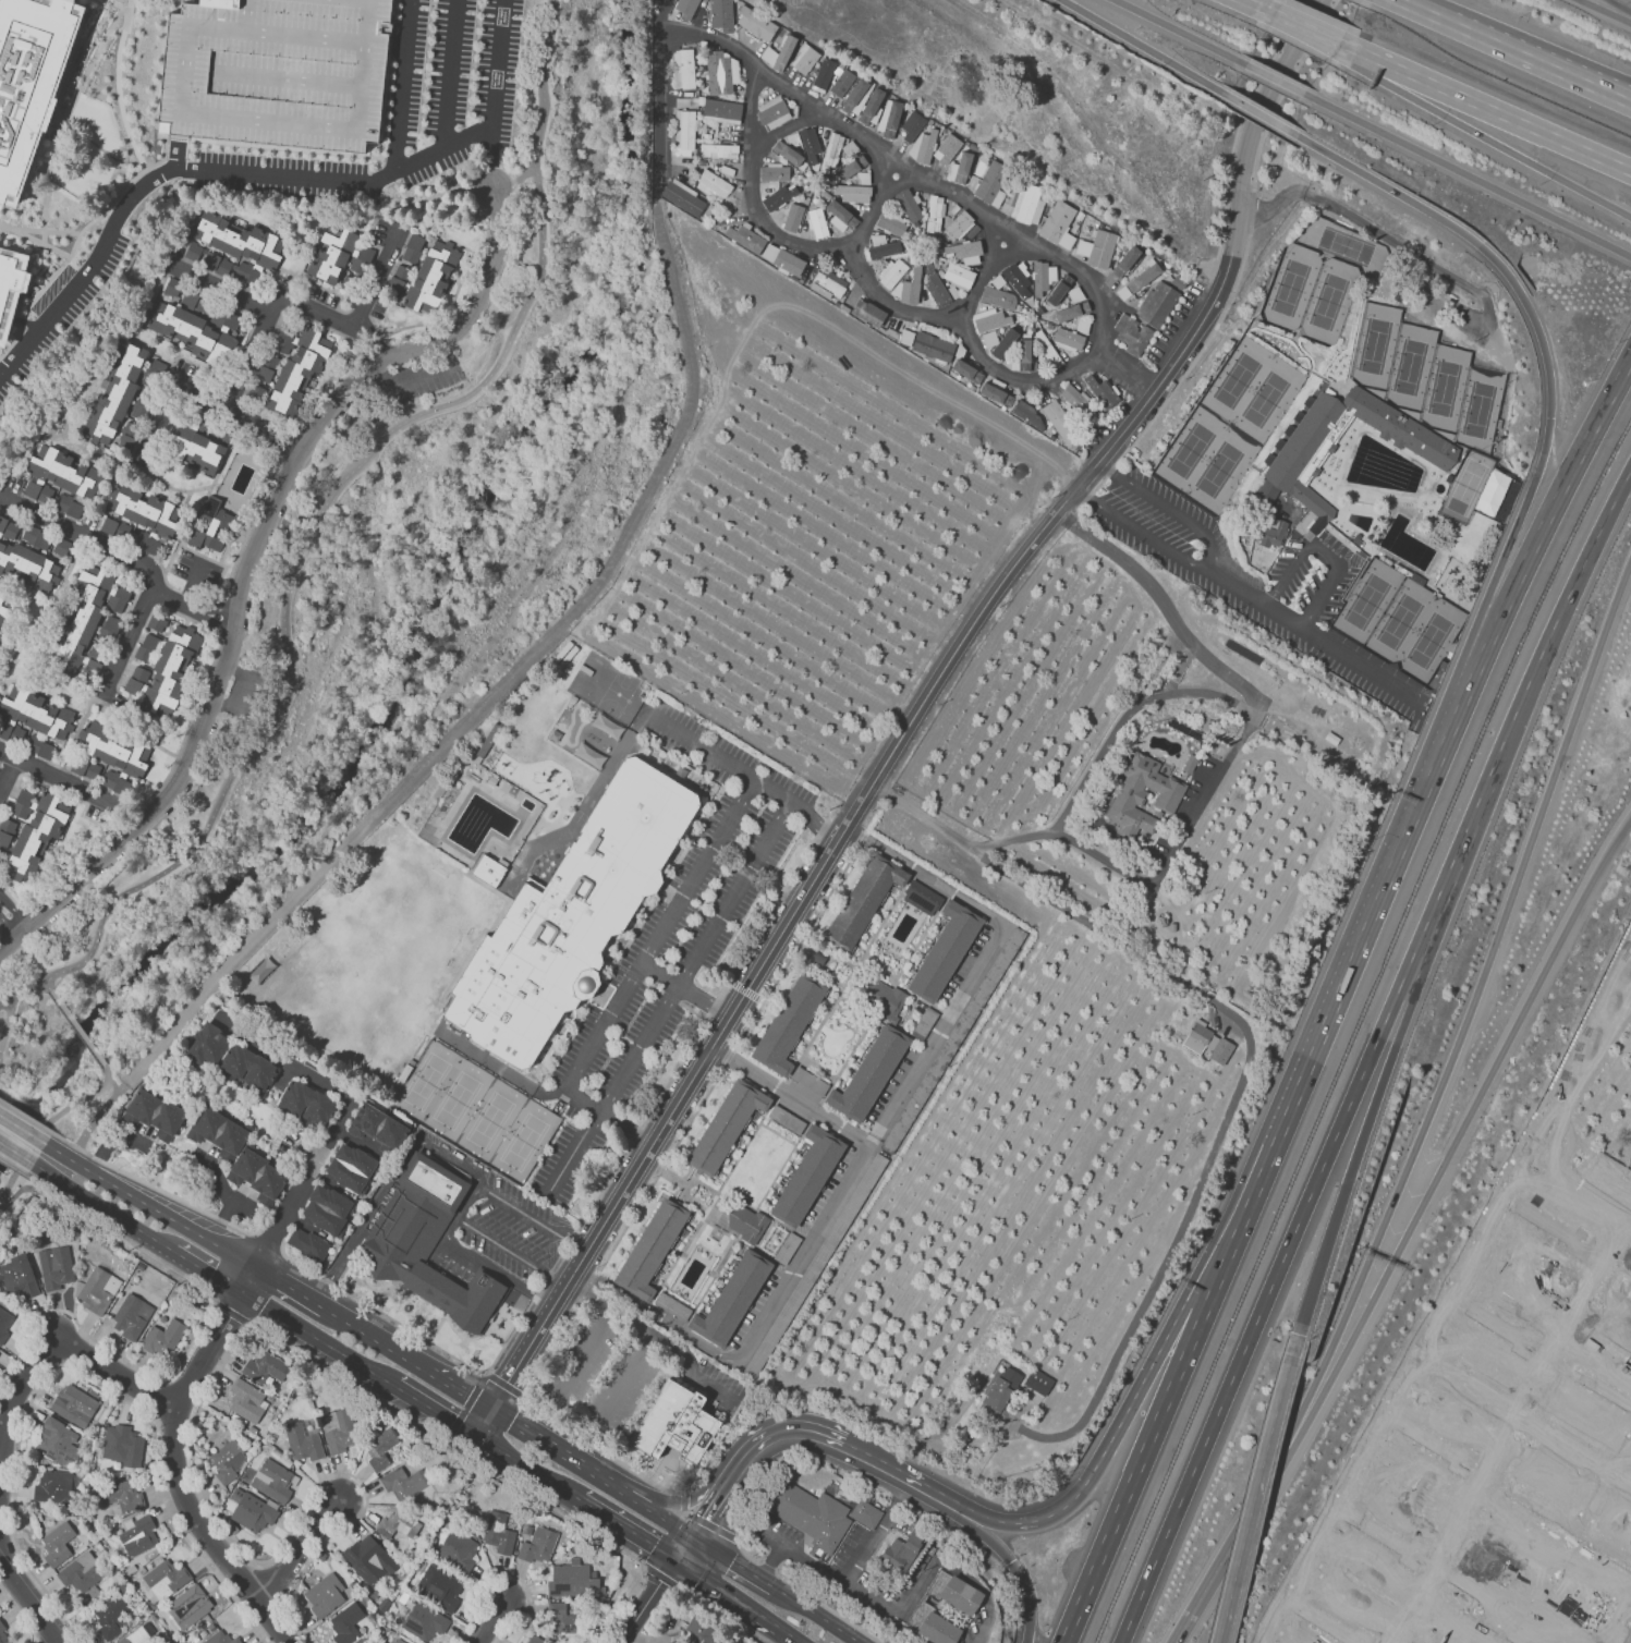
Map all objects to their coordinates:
road: (118, 5)
road: (1258, 7)
road: (1618, 8)
road: (661, 10)
road: (1605, 11)
building: (721, 14)
building: (755, 23)
road: (1306, 27)
road: (1179, 32)
road: (393, 47)
road: (1145, 47)
road: (1353, 48)
road: (88, 50)
road: (1513, 51)
building: (778, 53)
road: (95, 56)
building: (805, 59)
building: (683, 69)
building: (276, 71)
parking lot: (275, 72)
road: (452, 72)
building: (721, 72)
building: (823, 74)
building: (27, 77)
road: (1274, 78)
building: (840, 81)
road: (388, 85)
road: (401, 85)
road: (1283, 92)
road: (120, 94)
building: (855, 97)
road: (1627, 98)
building: (872, 107)
building: (721, 110)
building: (772, 112)
road: (1258, 112)
park: (569, 114)
road: (1498, 115)
building: (889, 118)
building: (912, 127)
road: (783, 131)
building: (683, 133)
road: (1236, 136)
road: (178, 137)
road: (859, 137)
road: (1494, 142)
building: (810, 144)
building: (923, 146)
road: (283, 148)
building: (849, 148)
building: (946, 148)
road: (102, 149)
building: (718, 150)
road: (495, 153)
building: (787, 153)
building: (830, 153)
road: (178, 154)
road: (162, 155)
building: (959, 168)
road: (264, 169)
building: (852, 169)
building: (774, 172)
road: (1466, 173)
road: (516, 180)
building: (991, 183)
building: (713, 185)
building: (852, 193)
road: (434, 195)
building: (779, 196)
building: (684, 198)
building: (1022, 204)
building: (909, 205)
road: (1273, 206)
road: (45, 208)
road: (1252, 208)
road: (876, 210)
building: (934, 212)
road: (101, 214)
building: (840, 216)
building: (792, 217)
building: (816, 222)
building: (1061, 223)
building: (890, 224)
building: (958, 226)
road: (5, 227)
building: (745, 238)
park: (1341, 242)
road: (44, 243)
building: (231, 245)
building: (881, 246)
building: (412, 247)
building: (1096, 248)
road: (1412, 251)
building: (339, 258)
building: (782, 258)
building: (1124, 260)
road: (476, 267)
building: (891, 271)
road: (377, 273)
building: (958, 276)
building: (1043, 277)
building: (1142, 277)
building: (425, 278)
road: (868, 278)
road: (987, 280)
building: (823, 281)
road: (514, 283)
park: (1291, 283)
building: (8, 287)
building: (908, 287)
building: (936, 289)
building: (1058, 289)
building: (1122, 292)
building: (186, 296)
park: (1329, 296)
building: (998, 297)
road: (280, 300)
building: (1156, 304)
road: (28, 305)
building: (867, 313)
building: (1067, 313)
building: (160, 316)
building: (990, 318)
building: (1082, 326)
road: (503, 332)
building: (202, 333)
building: (1131, 333)
building: (905, 337)
building: (1068, 338)
building: (988, 339)
building: (1003, 342)
park: (1373, 342)
road: (353, 344)
road: (369, 344)
building: (932, 345)
building: (1023, 353)
road: (252, 358)
park: (1410, 364)
road: (1546, 367)
building: (297, 368)
building: (966, 370)
building: (153, 373)
road: (1178, 381)
park: (1445, 384)
road: (475, 385)
road: (422, 387)
park: (1252, 387)
road: (200, 390)
building: (256, 392)
building: (991, 392)
building: (1101, 392)
road: (453, 393)
building: (112, 398)
building: (1076, 401)
road: (439, 403)
park: (1478, 405)
building: (141, 407)
road: (386, 411)
building: (1028, 415)
traffic signals: (1550, 416)
building: (1060, 422)
building: (1402, 428)
building: (182, 430)
building: (129, 436)
road: (285, 441)
building: (195, 452)
park: (1205, 457)
building: (1301, 458)
building: (57, 475)
park: (1465, 486)
building: (1494, 492)
road: (339, 501)
building: (68, 506)
building: (135, 512)
building: (209, 525)
building: (1268, 528)
road: (1538, 532)
road: (245, 534)
building: (36, 537)
road: (1014, 540)
road: (88, 541)
building: (1408, 544)
building: (61, 547)
road: (1324, 550)
building: (24, 560)
road: (249, 560)
road: (1215, 569)
parking lot: (1313, 575)
parking lot: (1237, 583)
park: (1367, 597)
building: (117, 598)
road: (1164, 607)
road: (191, 613)
road: (221, 613)
building: (2, 614)
building: (157, 622)
building: (83, 623)
park: (1413, 626)
building: (109, 629)
road: (1315, 634)
building: (146, 647)
road: (126, 648)
road: (1536, 661)
building: (166, 671)
road: (954, 671)
road: (499, 689)
road: (246, 692)
road: (1227, 699)
road: (918, 706)
building: (31, 716)
road: (1287, 733)
road: (701, 746)
building: (45, 751)
building: (113, 755)
building: (1191, 764)
building: (84, 768)
road: (169, 770)
road: (7, 779)
road: (70, 786)
building: (1145, 799)
building: (5, 831)
building: (34, 831)
building: (612, 849)
building: (489, 871)
building: (921, 898)
building: (863, 902)
road: (1054, 904)
road: (11, 917)
road: (1428, 917)
road: (1365, 929)
road: (660, 930)
building: (946, 950)
road: (693, 956)
road: (48, 984)
road: (685, 989)
road: (745, 990)
road: (22, 993)
building: (884, 998)
road: (1469, 1011)
road: (5, 1024)
building: (787, 1025)
road: (76, 1026)
building: (1207, 1043)
building: (206, 1044)
building: (247, 1068)
road: (500, 1071)
road: (107, 1072)
road: (670, 1072)
building: (871, 1074)
building: (810, 1081)
road: (791, 1093)
building: (306, 1103)
building: (155, 1113)
road: (694, 1115)
road: (27, 1116)
road: (342, 1118)
road: (97, 1120)
building: (787, 1120)
building: (727, 1123)
building: (377, 1128)
road: (44, 1131)
building: (218, 1132)
road: (1457, 1135)
road: (19, 1142)
road: (868, 1144)
road: (574, 1149)
road: (1358, 1154)
road: (45, 1157)
building: (350, 1167)
road: (12, 1169)
building: (808, 1175)
building: (257, 1176)
building: (868, 1176)
road: (104, 1179)
road: (159, 1186)
road: (28, 1189)
road: (239, 1189)
road: (502, 1195)
road: (108, 1208)
building: (326, 1208)
road: (463, 1209)
road: (367, 1219)
road: (1243, 1219)
road: (1546, 1220)
building: (745, 1222)
road: (181, 1224)
road: (271, 1238)
road: (124, 1239)
building: (307, 1243)
building: (428, 1245)
building: (787, 1248)
building: (652, 1249)
road: (232, 1251)
road: (511, 1251)
road: (1165, 1261)
building: (54, 1267)
road: (210, 1270)
road: (499, 1271)
building: (17, 1277)
road: (290, 1287)
building: (97, 1290)
building: (733, 1299)
road: (1197, 1299)
building: (671, 1306)
fountain: (409, 1307)
road: (1262, 1307)
road: (232, 1314)
building: (131, 1316)
road: (393, 1319)
road: (1494, 1322)
building: (4, 1324)
traffic signals: (1298, 1334)
road: (655, 1336)
building: (162, 1338)
road: (321, 1339)
road: (375, 1341)
road: (61, 1342)
road: (1294, 1344)
road: (1429, 1352)
building: (265, 1367)
building: (1037, 1382)
road: (478, 1387)
road: (1605, 1391)
road: (458, 1392)
building: (997, 1393)
building: (246, 1400)
building: (74, 1404)
road: (436, 1411)
road: (574, 1411)
traffic signals: (489, 1413)
road: (1529, 1422)
building: (675, 1424)
road: (483, 1425)
building: (339, 1435)
traffic signals: (477, 1437)
building: (303, 1440)
road: (1432, 1440)
building: (58, 1441)
road: (447, 1441)
road: (767, 1443)
building: (122, 1445)
building: (379, 1447)
road: (603, 1449)
road: (1101, 1453)
road: (558, 1455)
building: (227, 1460)
road: (171, 1462)
road: (1136, 1466)
building: (272, 1480)
building: (404, 1482)
road: (902, 1483)
building: (56, 1485)
road: (1605, 1489)
road: (1255, 1490)
building: (122, 1495)
road: (576, 1498)
road: (685, 1499)
road: (673, 1501)
building: (253, 1512)
road: (687, 1512)
building: (866, 1514)
road: (662, 1517)
building: (812, 1517)
road: (708, 1518)
road: (1570, 1523)
building: (387, 1524)
road: (715, 1528)
building: (498, 1533)
road: (1383, 1534)
building: (138, 1535)
road: (876, 1535)
traffic signals: (697, 1537)
road: (776, 1539)
building: (57, 1543)
road: (300, 1545)
building: (538, 1545)
road: (686, 1548)
road: (1229, 1548)
building: (458, 1549)
building: (899, 1555)
road: (746, 1556)
road: (729, 1558)
building: (369, 1560)
traffic signals: (675, 1560)
road: (771, 1561)
traffic signals: (1011, 1562)
road: (769, 1565)
building: (81, 1571)
road: (1015, 1571)
road: (661, 1575)
building: (165, 1578)
building: (572, 1580)
road: (767, 1583)
building: (438, 1587)
road: (25, 1591)
road: (913, 1592)
building: (325, 1595)
road: (727, 1595)
building: (960, 1595)
road: (647, 1601)
building: (186, 1607)
road: (828, 1607)
road: (718, 1612)
road: (817, 1615)
building: (109, 1617)
road: (490, 1620)
building: (563, 1620)
building: (424, 1621)
road: (1327, 1621)
building: (345, 1623)
building: (939, 1629)
building: (702, 1631)
building: (2, 1634)
road: (1220, 1634)
building: (138, 1635)
road: (789, 1636)
building: (220, 1638)
building: (535, 1640)
building: (400, 1641)
building: (516, 1642)

